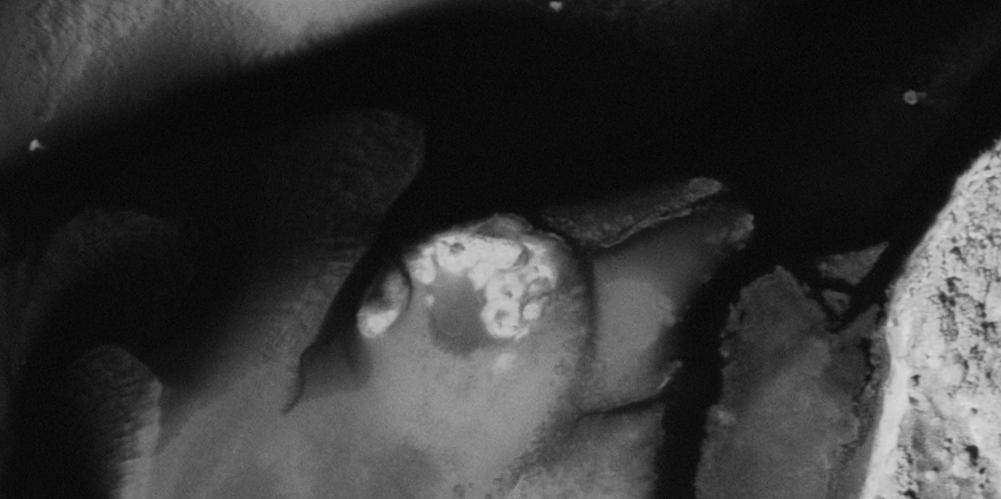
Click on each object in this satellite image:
park: (944, 354)

